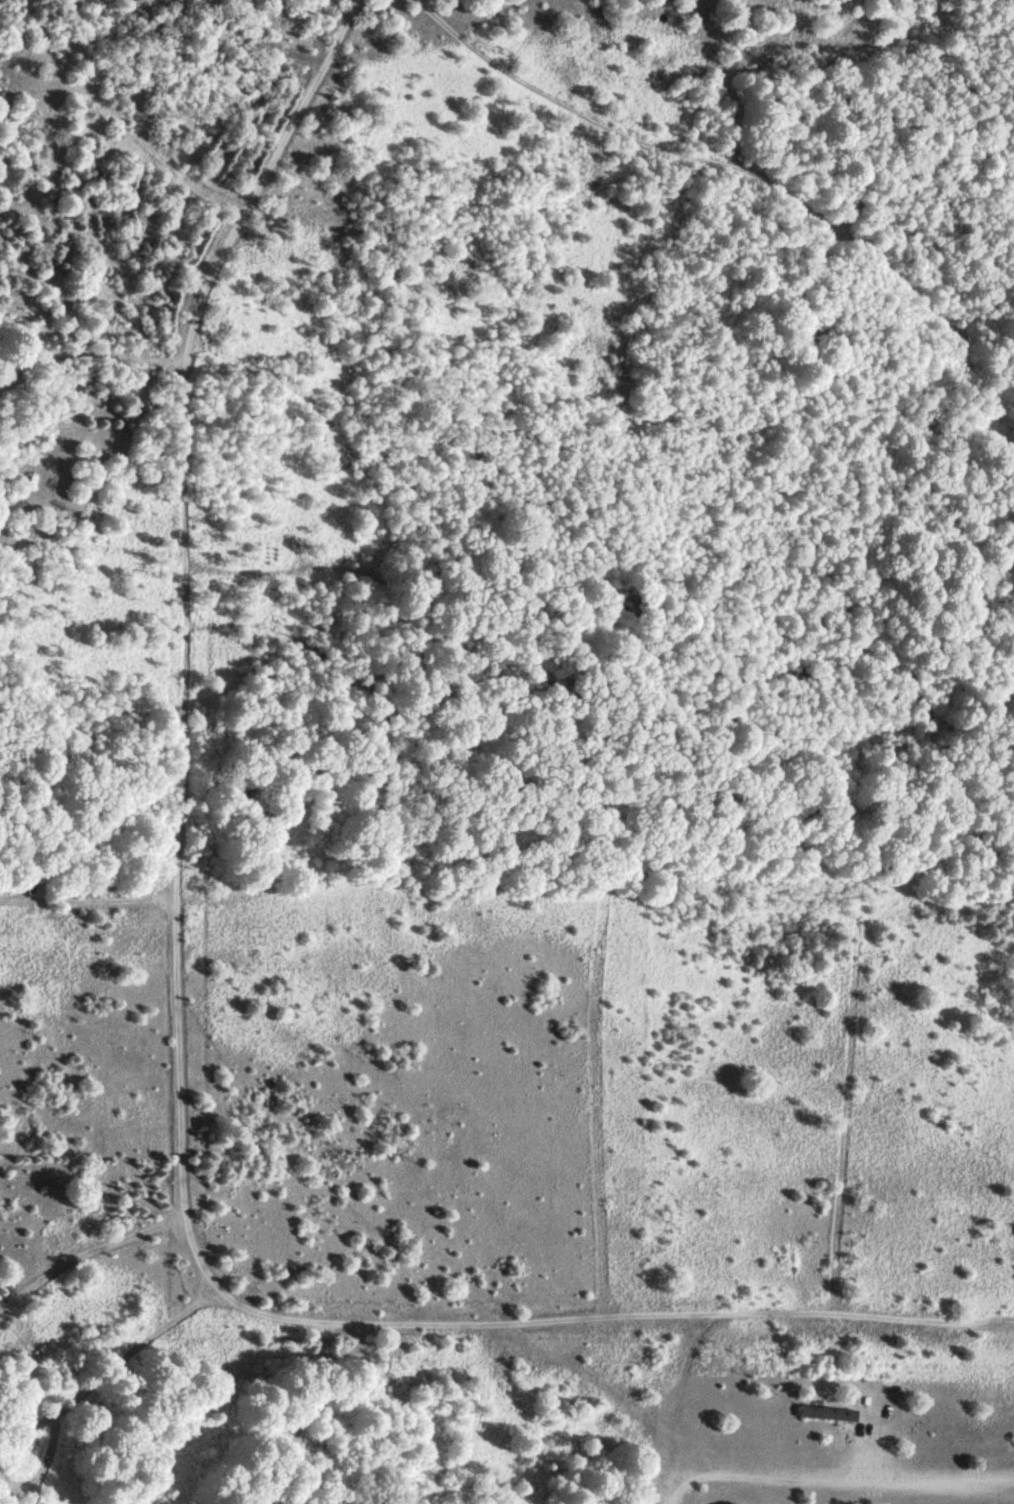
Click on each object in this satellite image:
road: (260, 51)
road: (544, 257)
road: (112, 902)
road: (26, 903)
road: (177, 1093)
road: (692, 1408)
building: (824, 1412)
road: (322, 1415)

